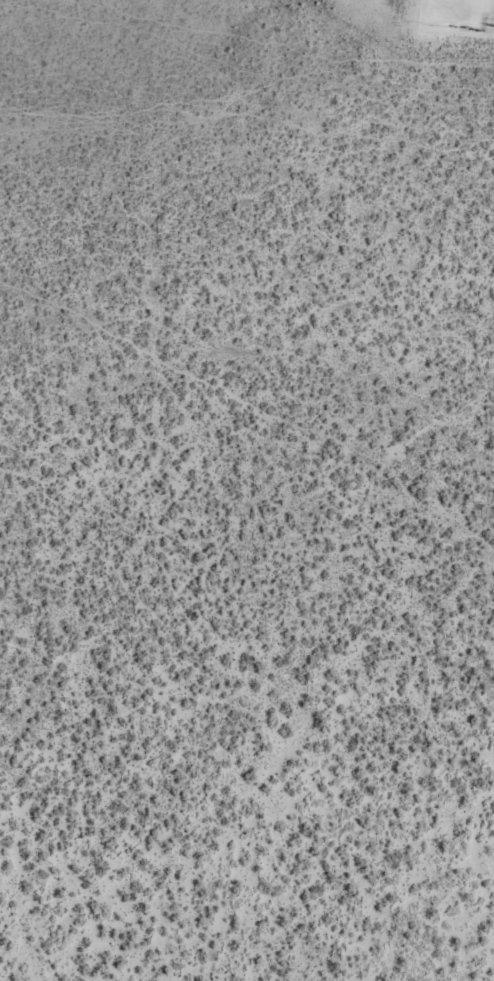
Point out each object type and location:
road: (490, 12)

